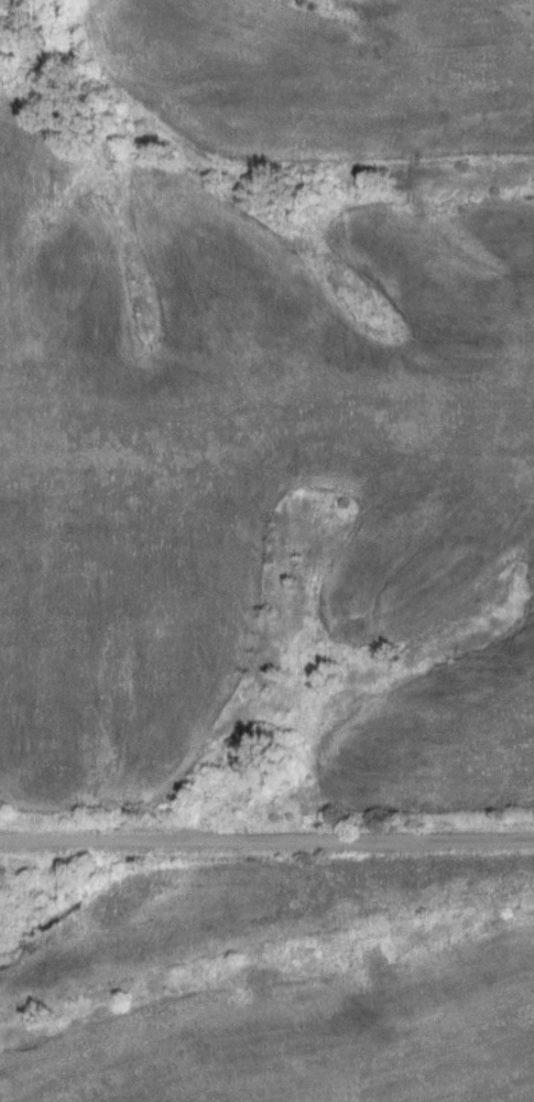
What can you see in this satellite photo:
road: (266, 843)

